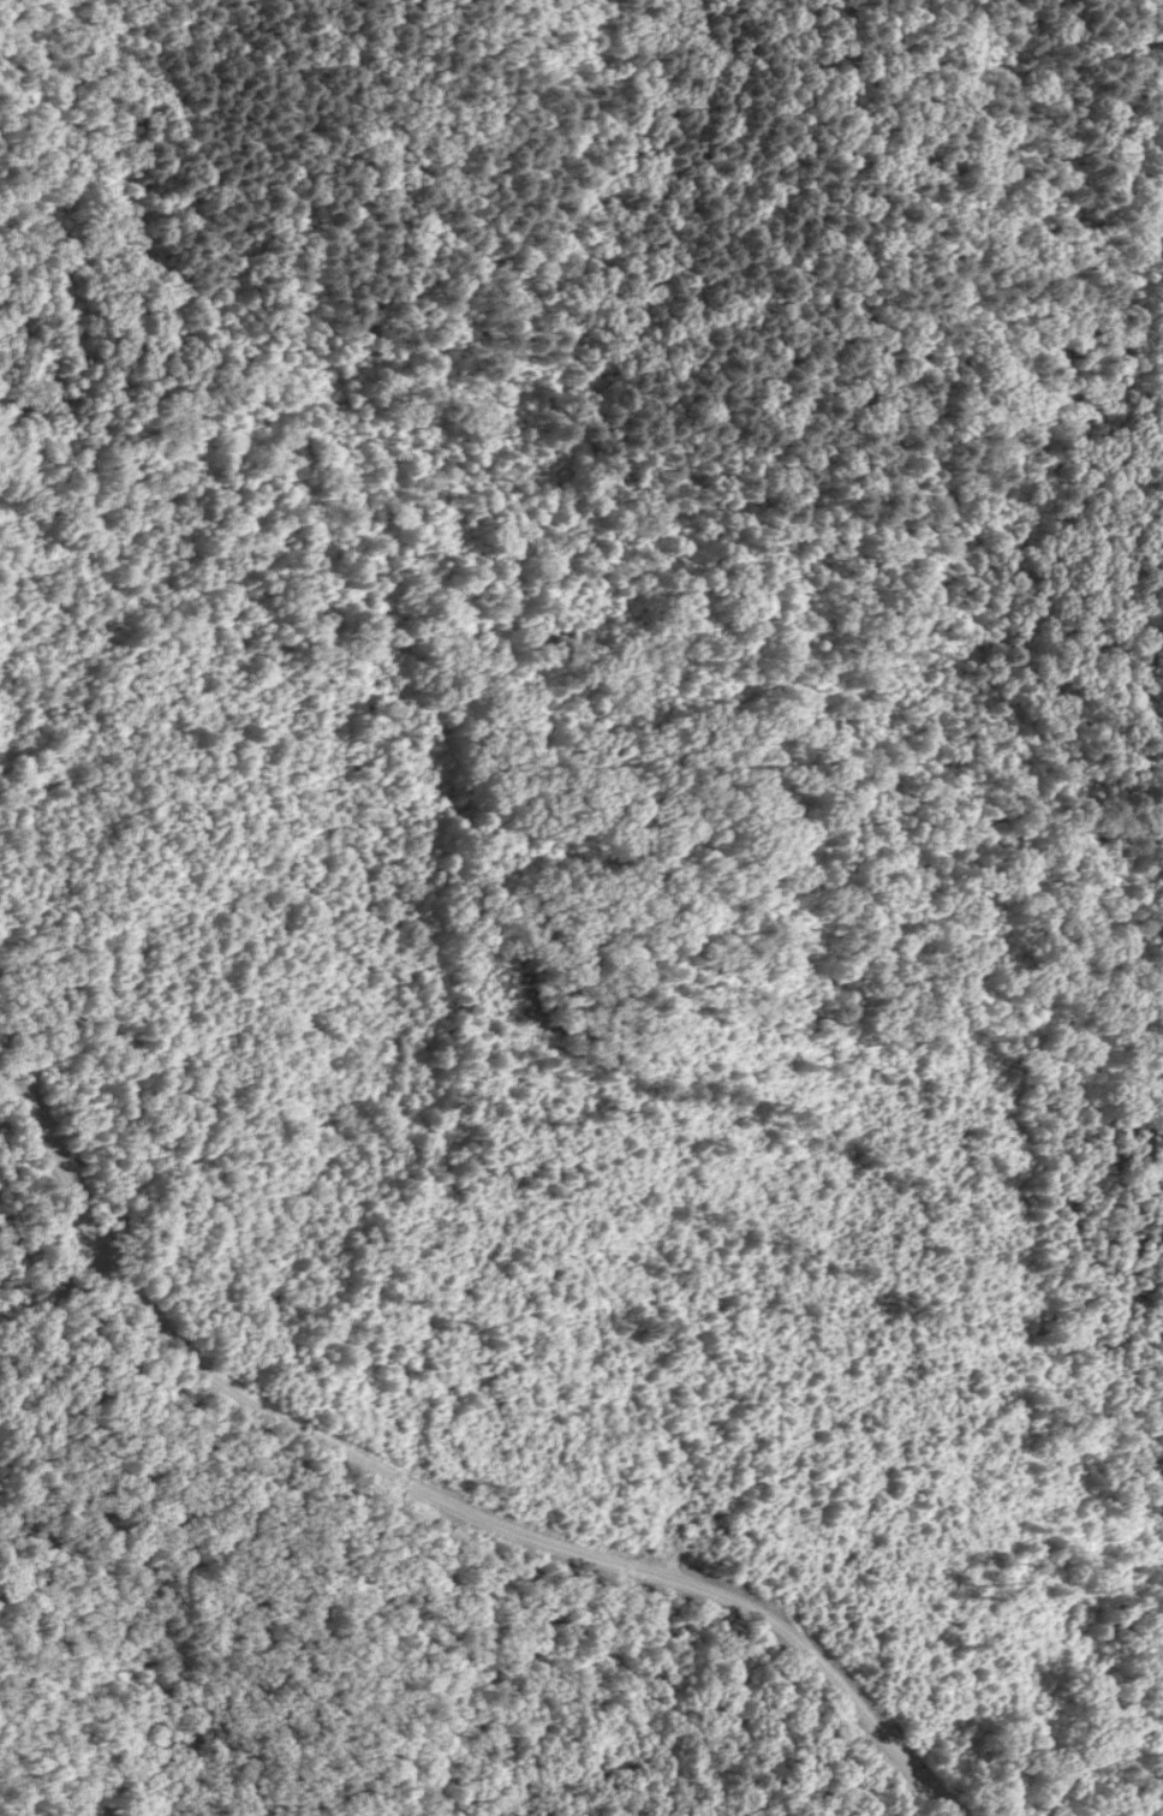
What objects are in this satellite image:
road: (439, 1496)

